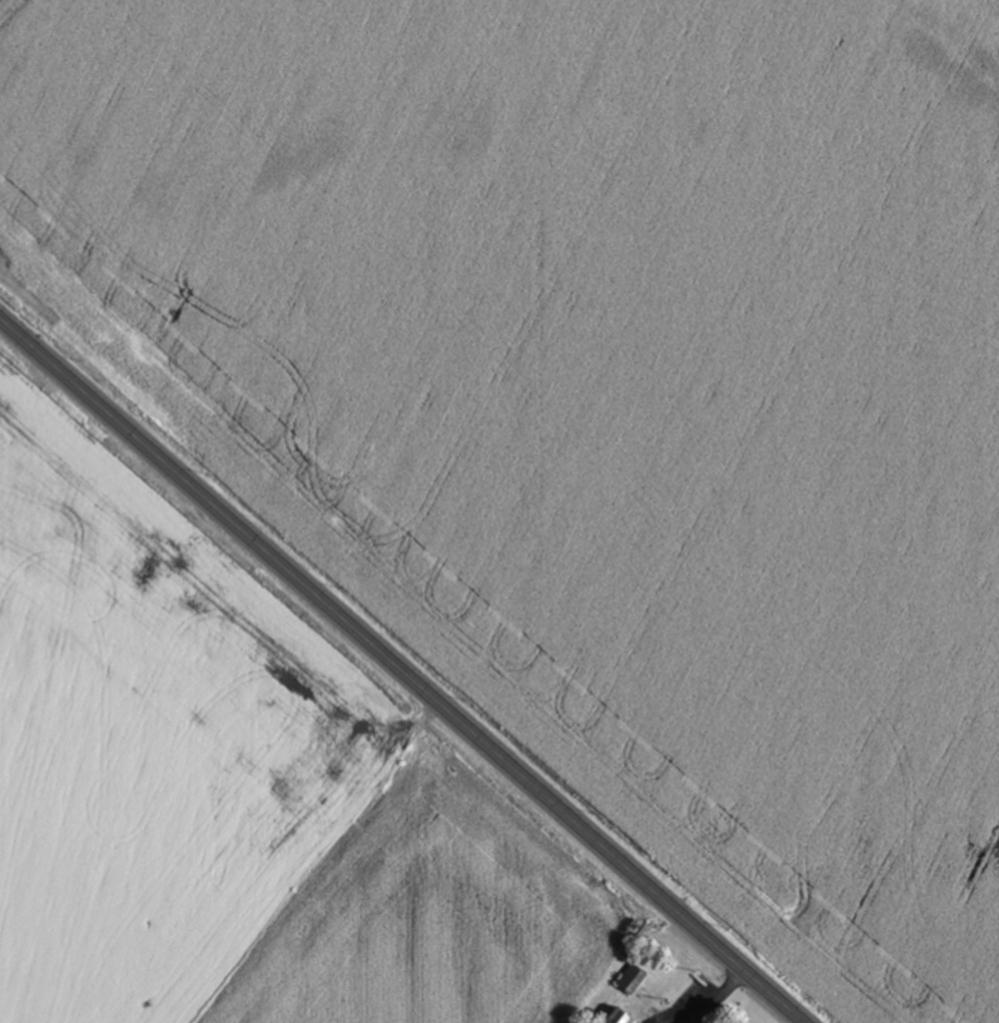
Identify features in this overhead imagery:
road: (391, 678)
building: (621, 1016)

